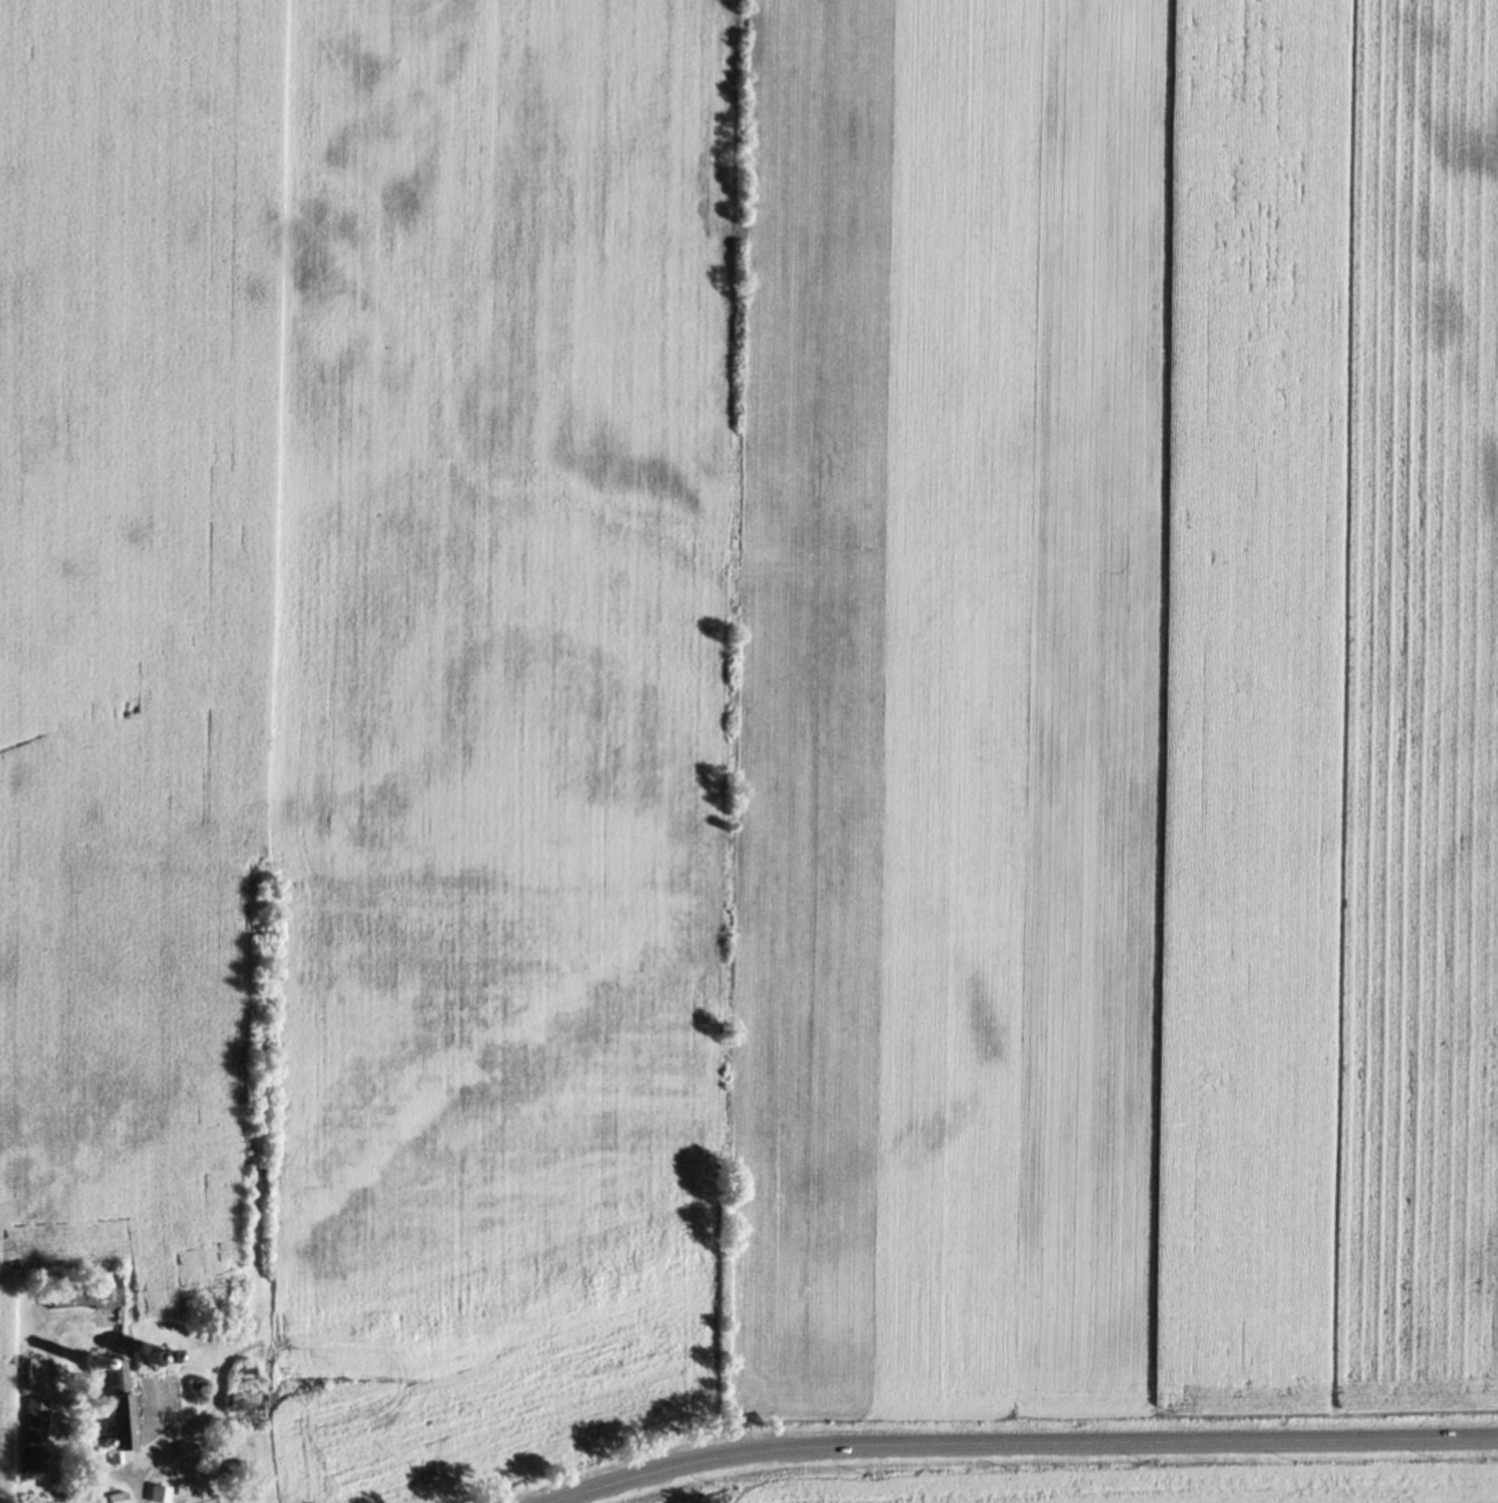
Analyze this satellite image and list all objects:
crop: (756, 707)
building: (83, 1290)
building: (21, 1369)
building: (242, 1371)
building: (242, 1399)
building: (112, 1403)
building: (33, 1416)
road: (194, 1422)
road: (1023, 1443)
building: (186, 1447)
building: (32, 1457)
building: (232, 1464)
road: (128, 1483)
building: (157, 1491)
crop: (682, 1491)
building: (116, 1497)

